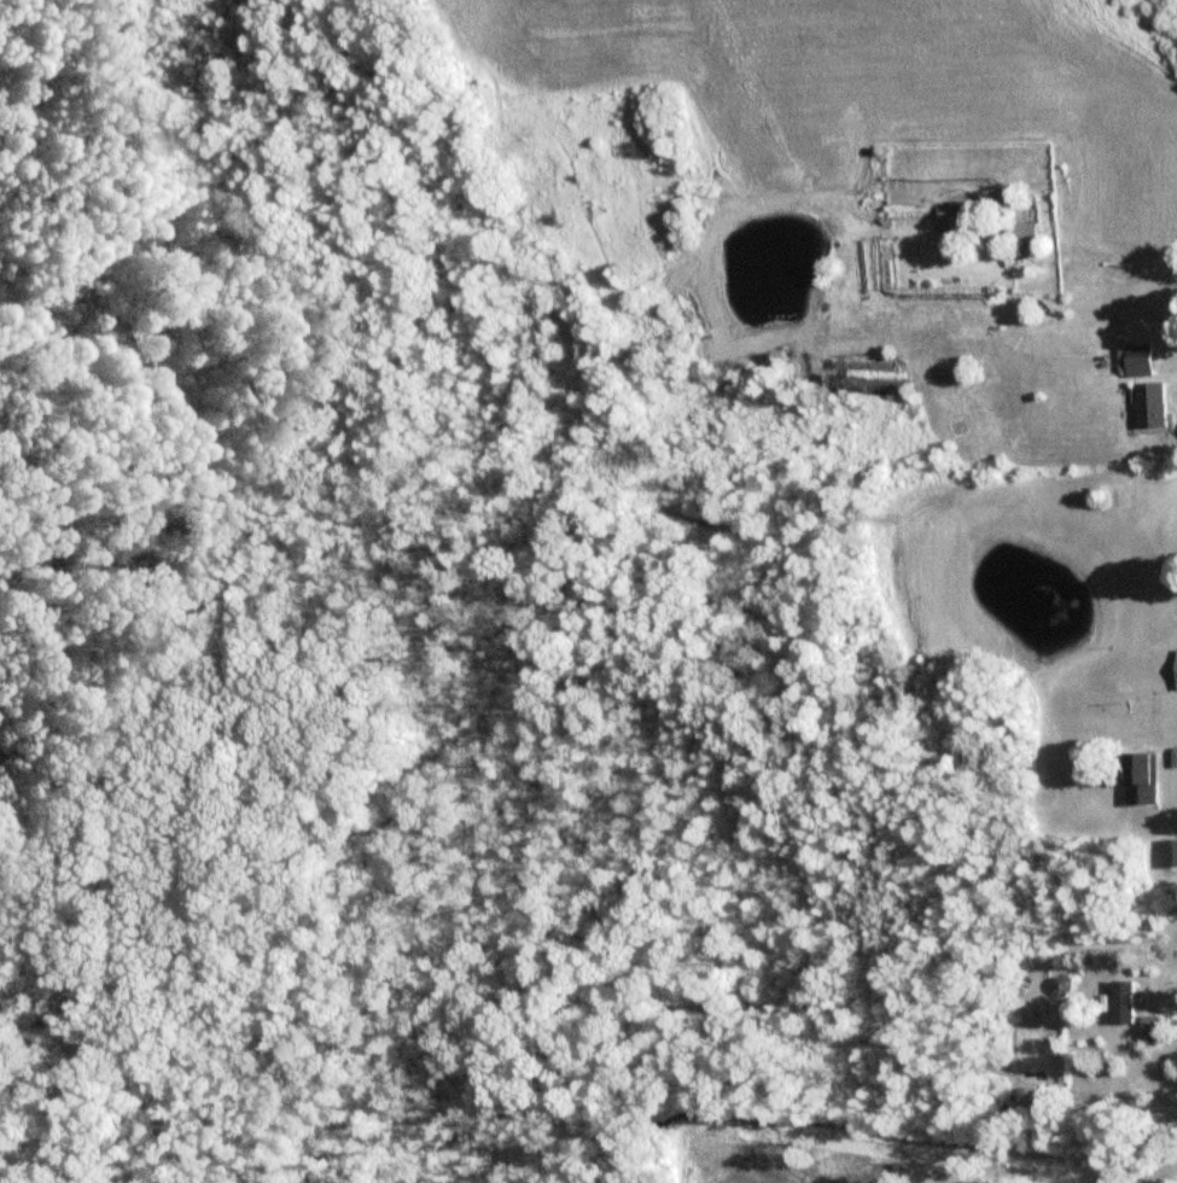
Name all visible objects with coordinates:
building: (1031, 233)
building: (1146, 361)
building: (1156, 406)
building: (1149, 776)
building: (1171, 853)
building: (1130, 1002)
building: (1156, 1028)

